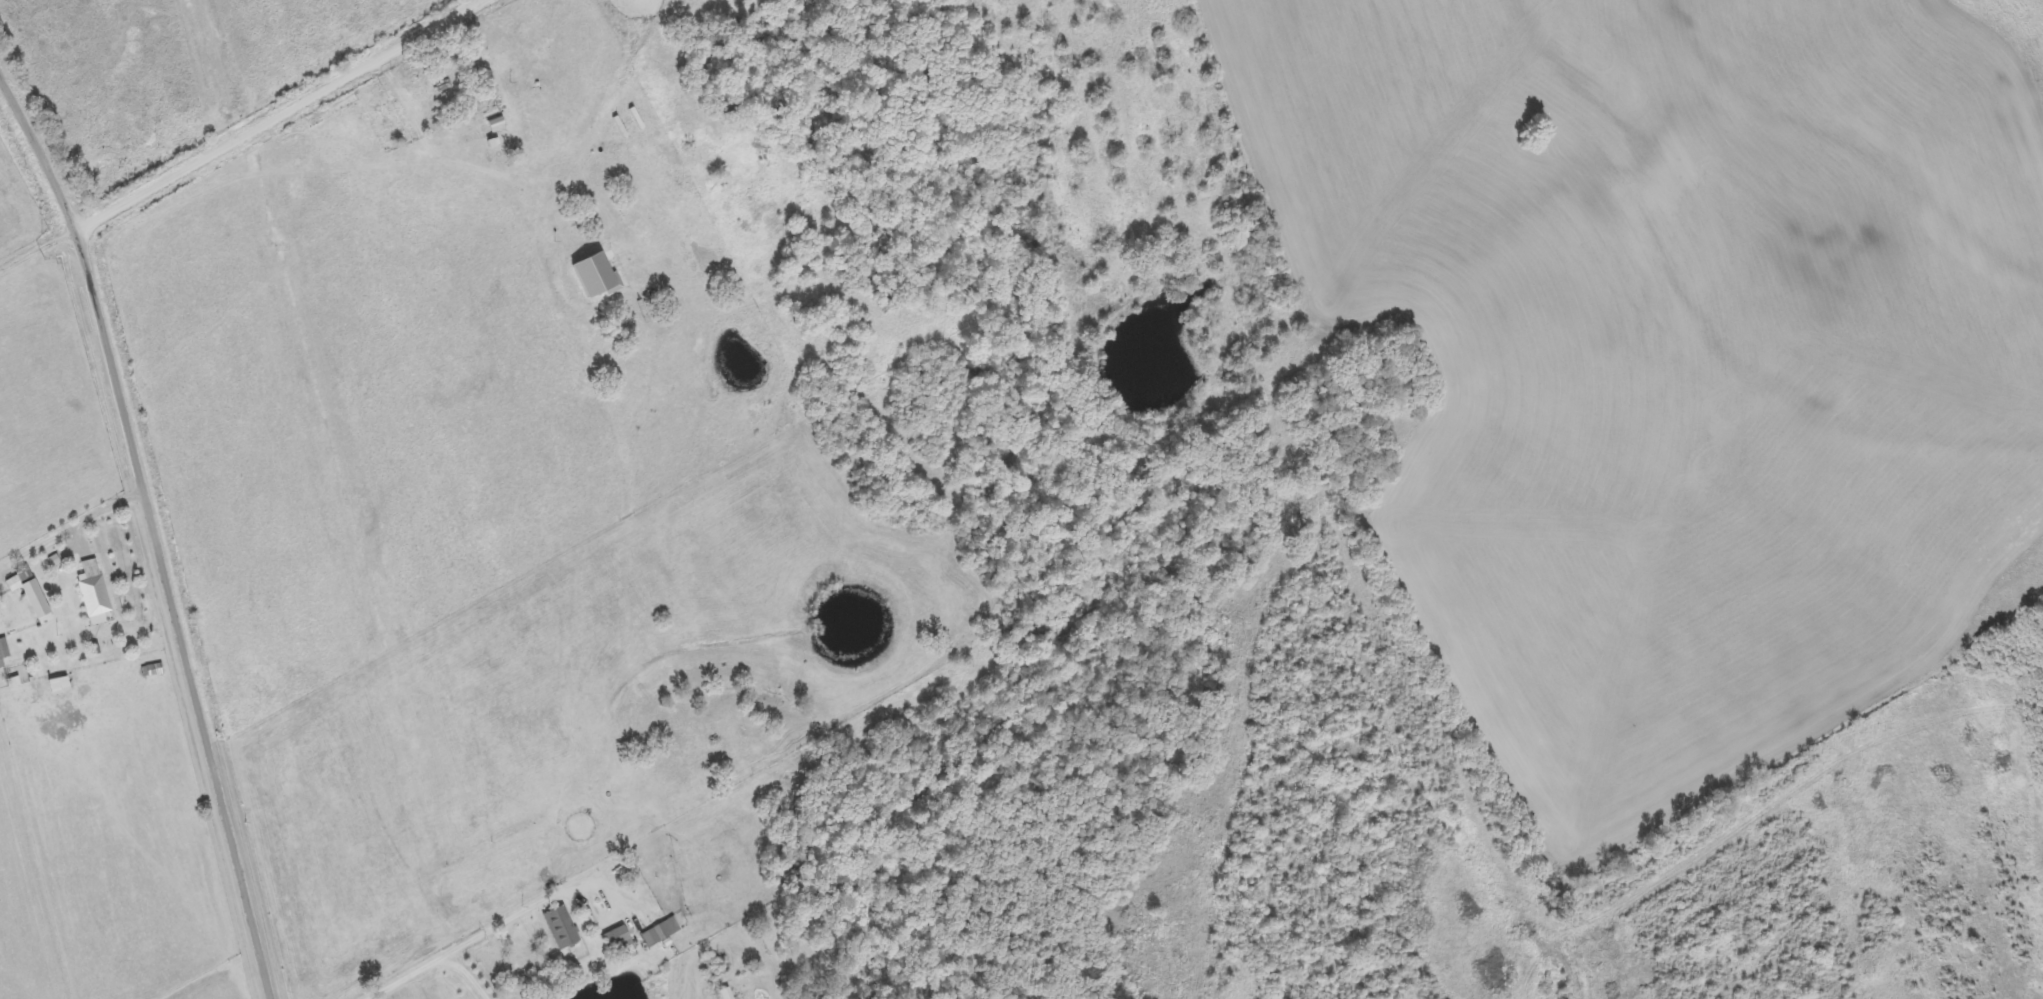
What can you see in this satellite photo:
road: (288, 115)
building: (597, 277)
road: (843, 518)
road: (158, 524)
building: (24, 575)
building: (33, 600)
building: (0, 636)
building: (4, 650)
road: (577, 656)
building: (562, 929)
building: (661, 933)
building: (618, 940)

